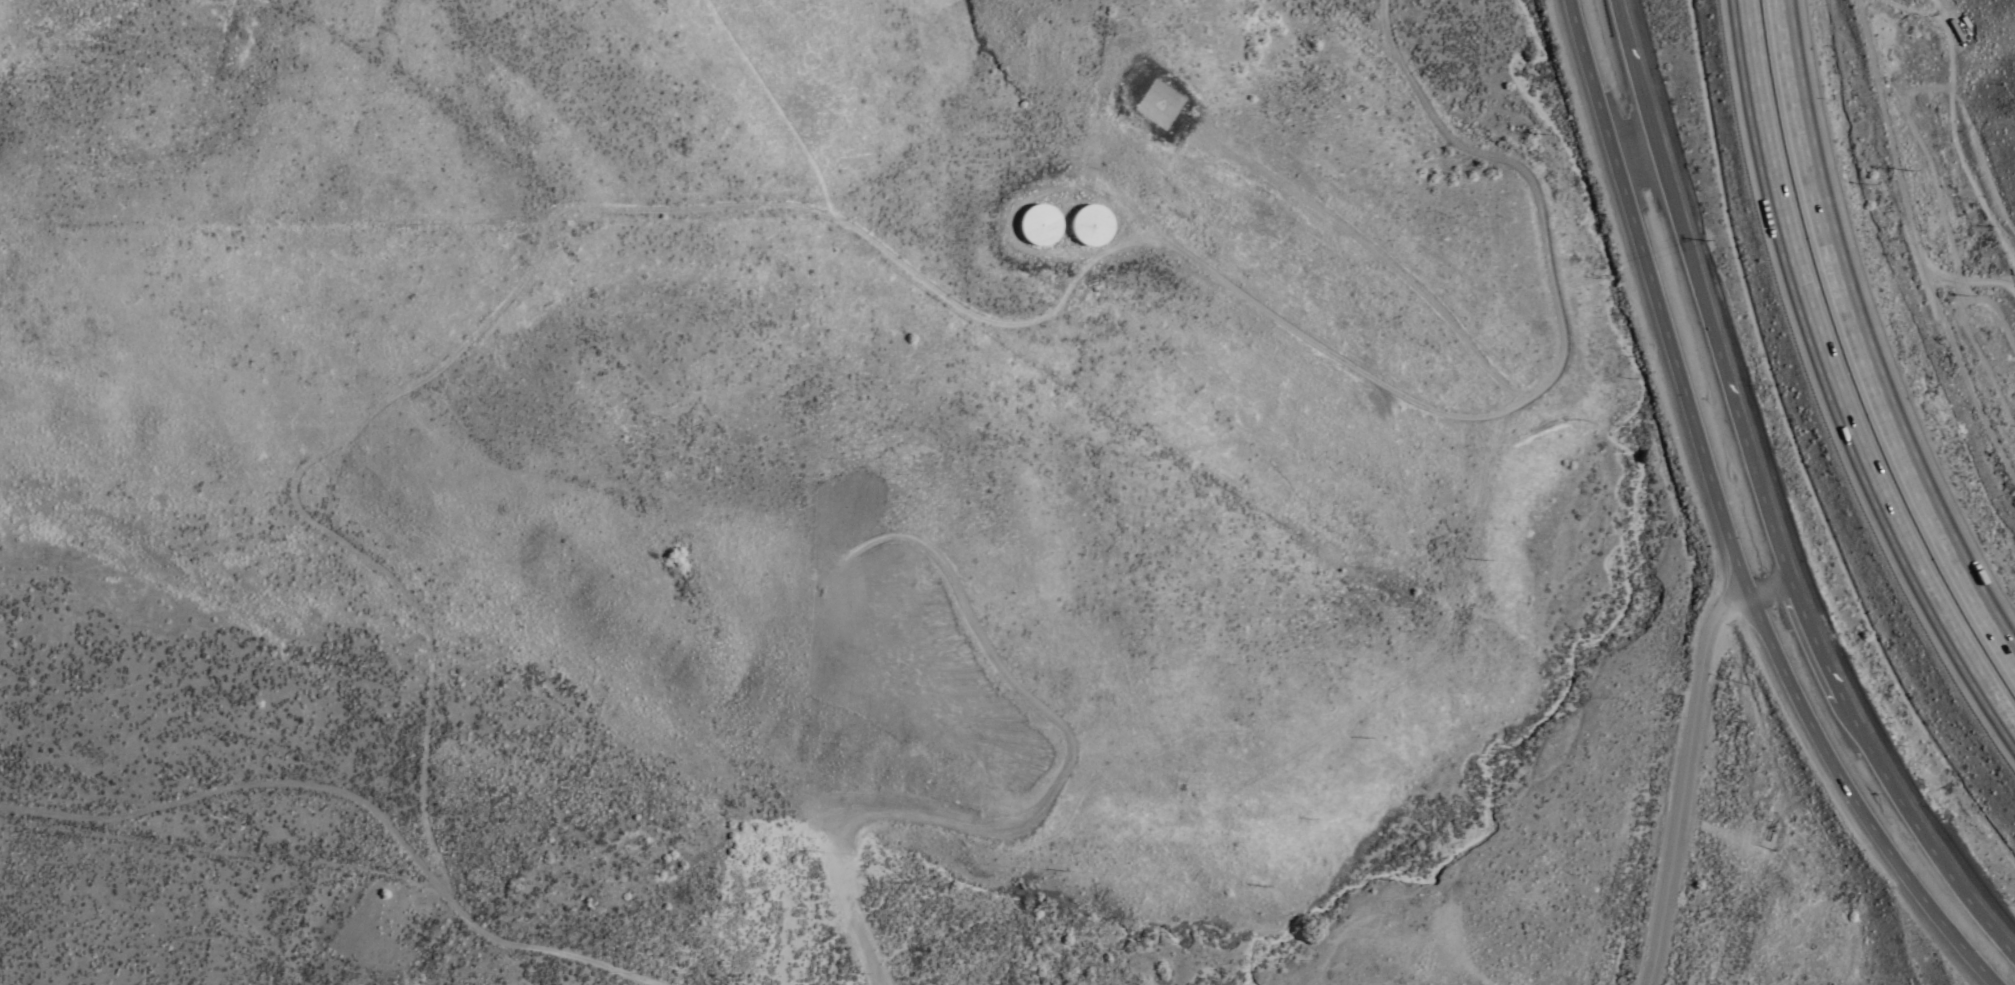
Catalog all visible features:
helipad: (1159, 104)
road: (1011, 218)
building: (1039, 224)
building: (1092, 225)
road: (1917, 247)
road: (1371, 251)
road: (488, 320)
road: (1864, 342)
road: (1551, 372)
road: (1834, 384)
road: (1766, 500)
road: (1726, 520)
road: (1685, 758)
road: (355, 802)

